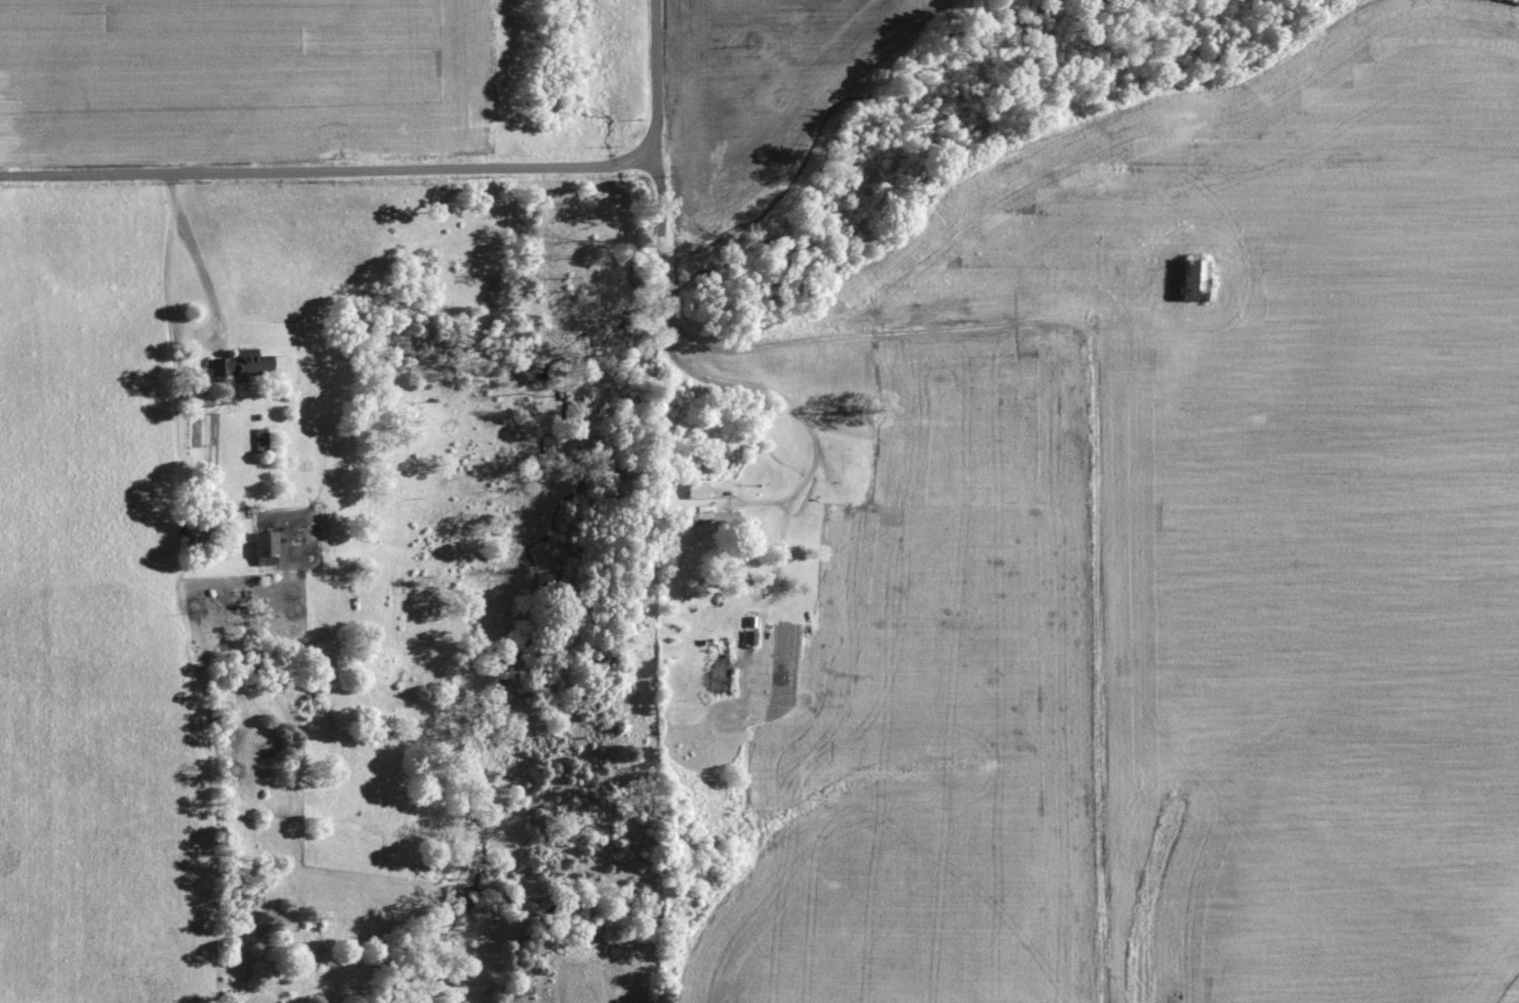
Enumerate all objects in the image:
road: (270, 87)
road: (399, 169)
road: (192, 249)
building: (1186, 277)
road: (870, 337)
building: (231, 362)
building: (692, 489)
building: (258, 547)
road: (777, 548)

